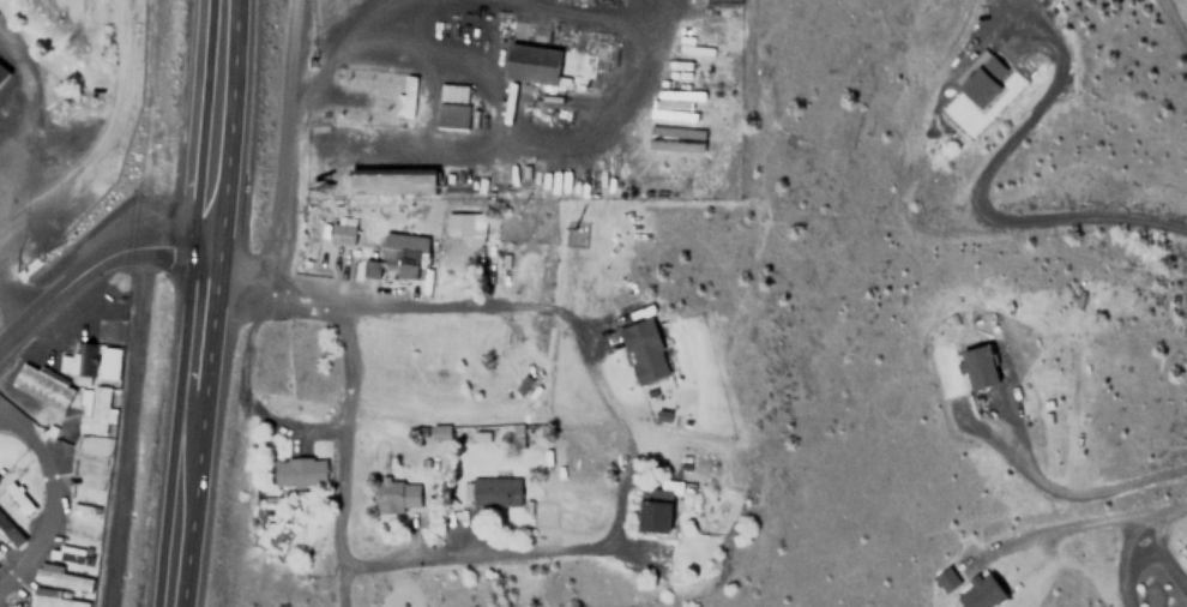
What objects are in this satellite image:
road: (1169, 36)
building: (549, 65)
building: (5, 74)
building: (983, 78)
building: (406, 95)
building: (451, 118)
road: (211, 126)
road: (101, 136)
road: (281, 137)
building: (680, 139)
road: (101, 180)
building: (391, 180)
road: (964, 204)
building: (464, 224)
building: (336, 232)
building: (402, 254)
road: (86, 264)
building: (373, 269)
road: (341, 305)
road: (192, 324)
building: (646, 350)
building: (494, 357)
building: (975, 367)
building: (94, 381)
building: (41, 385)
road: (123, 425)
road: (345, 431)
building: (442, 431)
building: (517, 435)
building: (299, 470)
building: (0, 475)
road: (1061, 492)
building: (490, 493)
building: (392, 495)
building: (19, 498)
road: (176, 501)
building: (656, 510)
road: (1075, 518)
building: (10, 530)
road: (472, 552)
building: (68, 578)
building: (945, 578)
building: (981, 591)
building: (54, 599)

